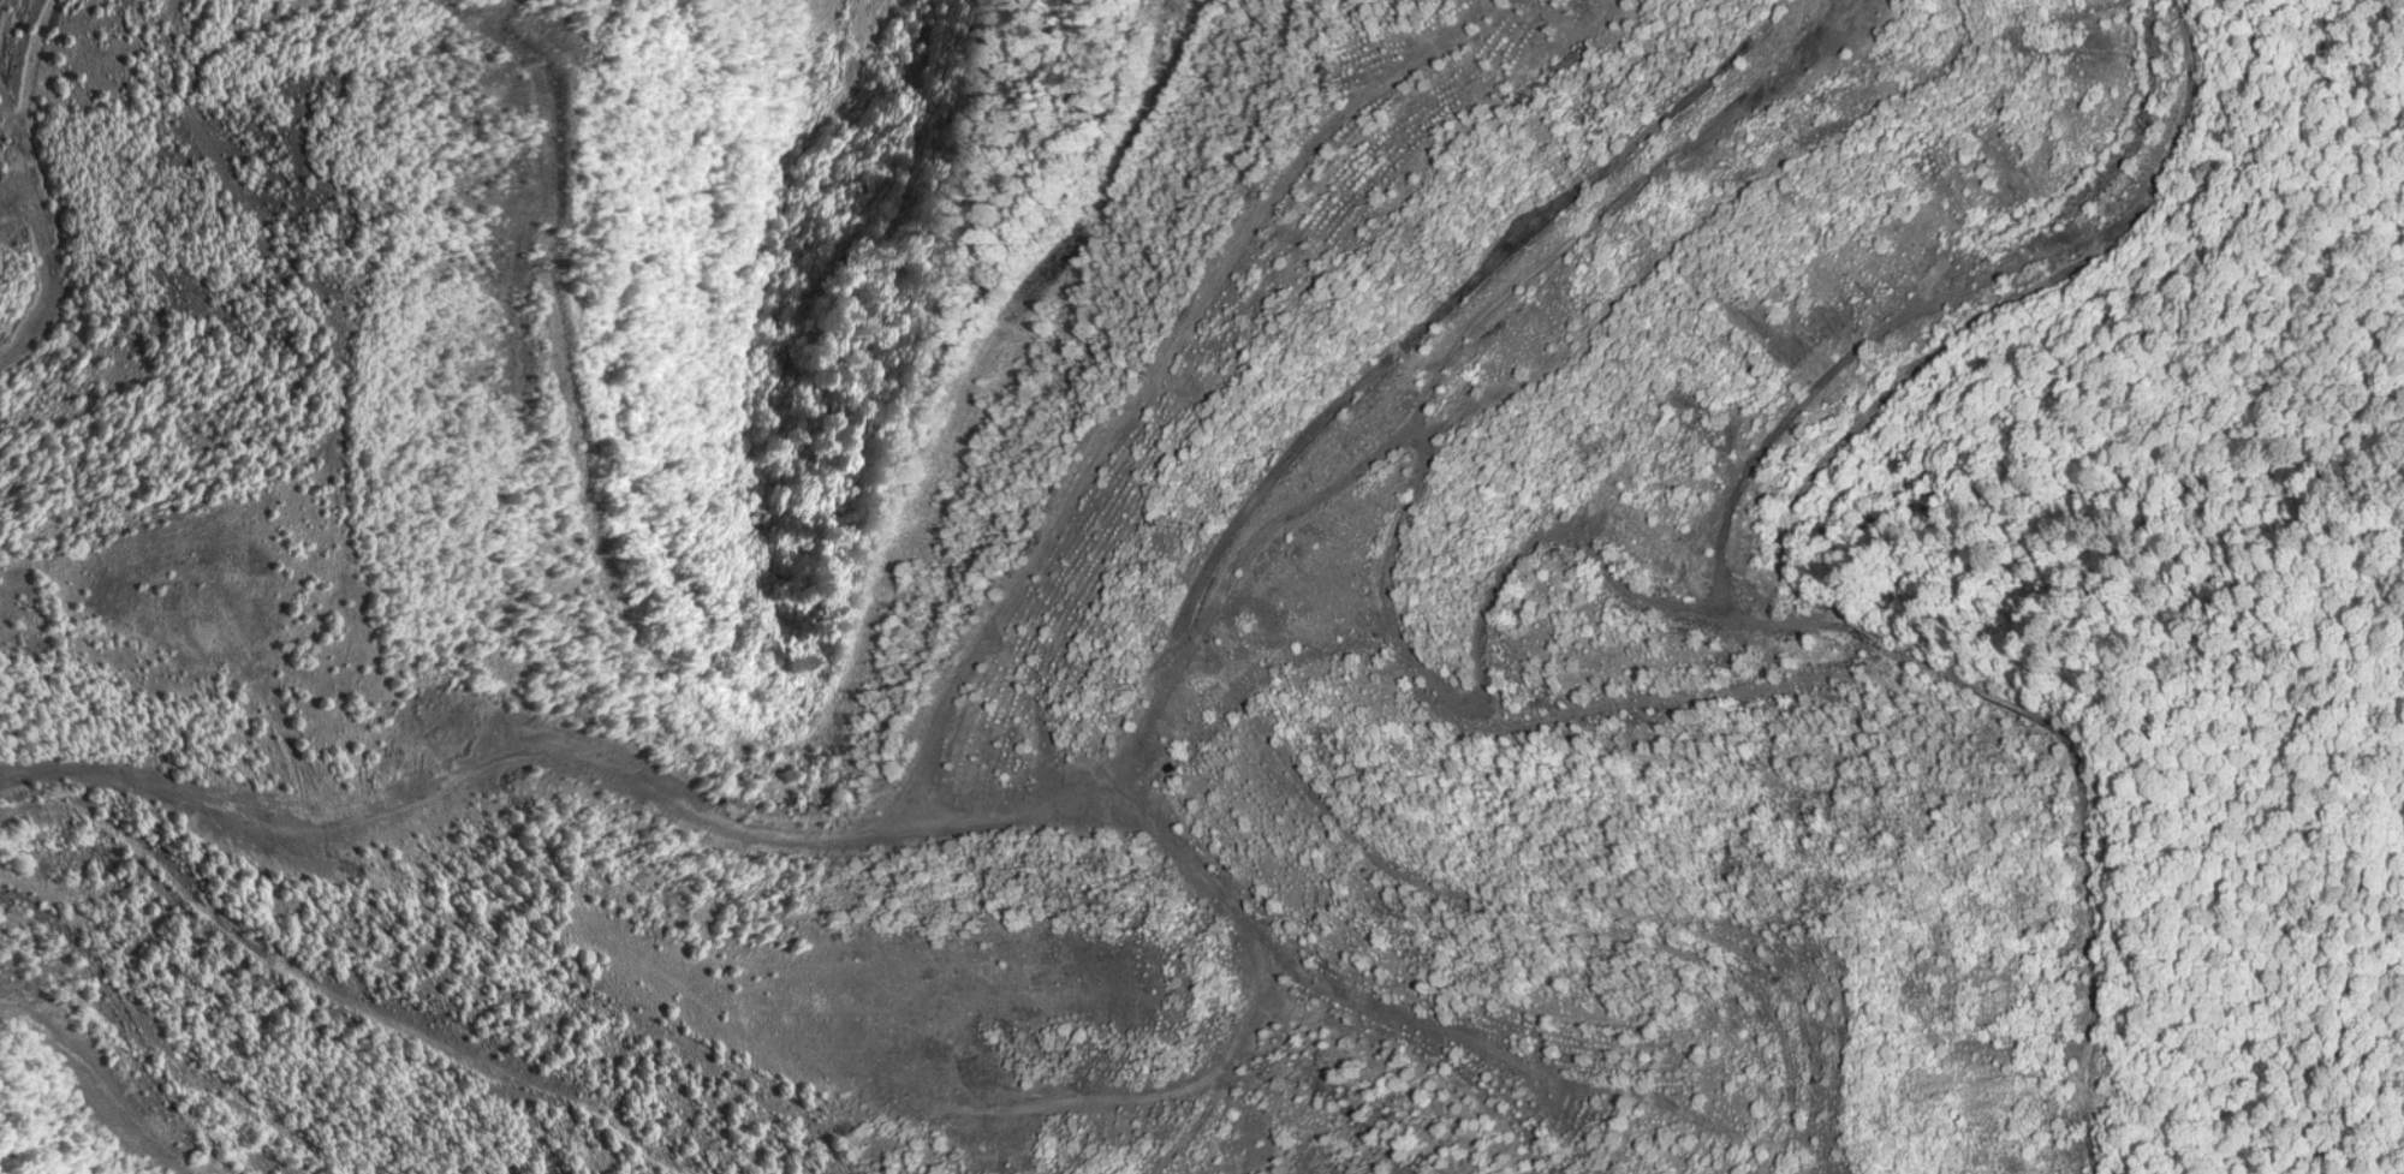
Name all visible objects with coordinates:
quarry: (1202, 586)

